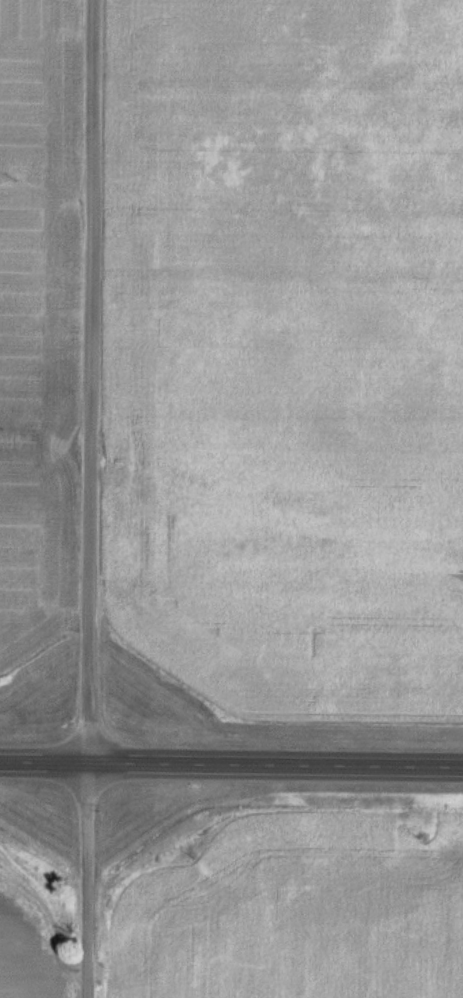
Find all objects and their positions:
road: (88, 498)
road: (231, 764)

